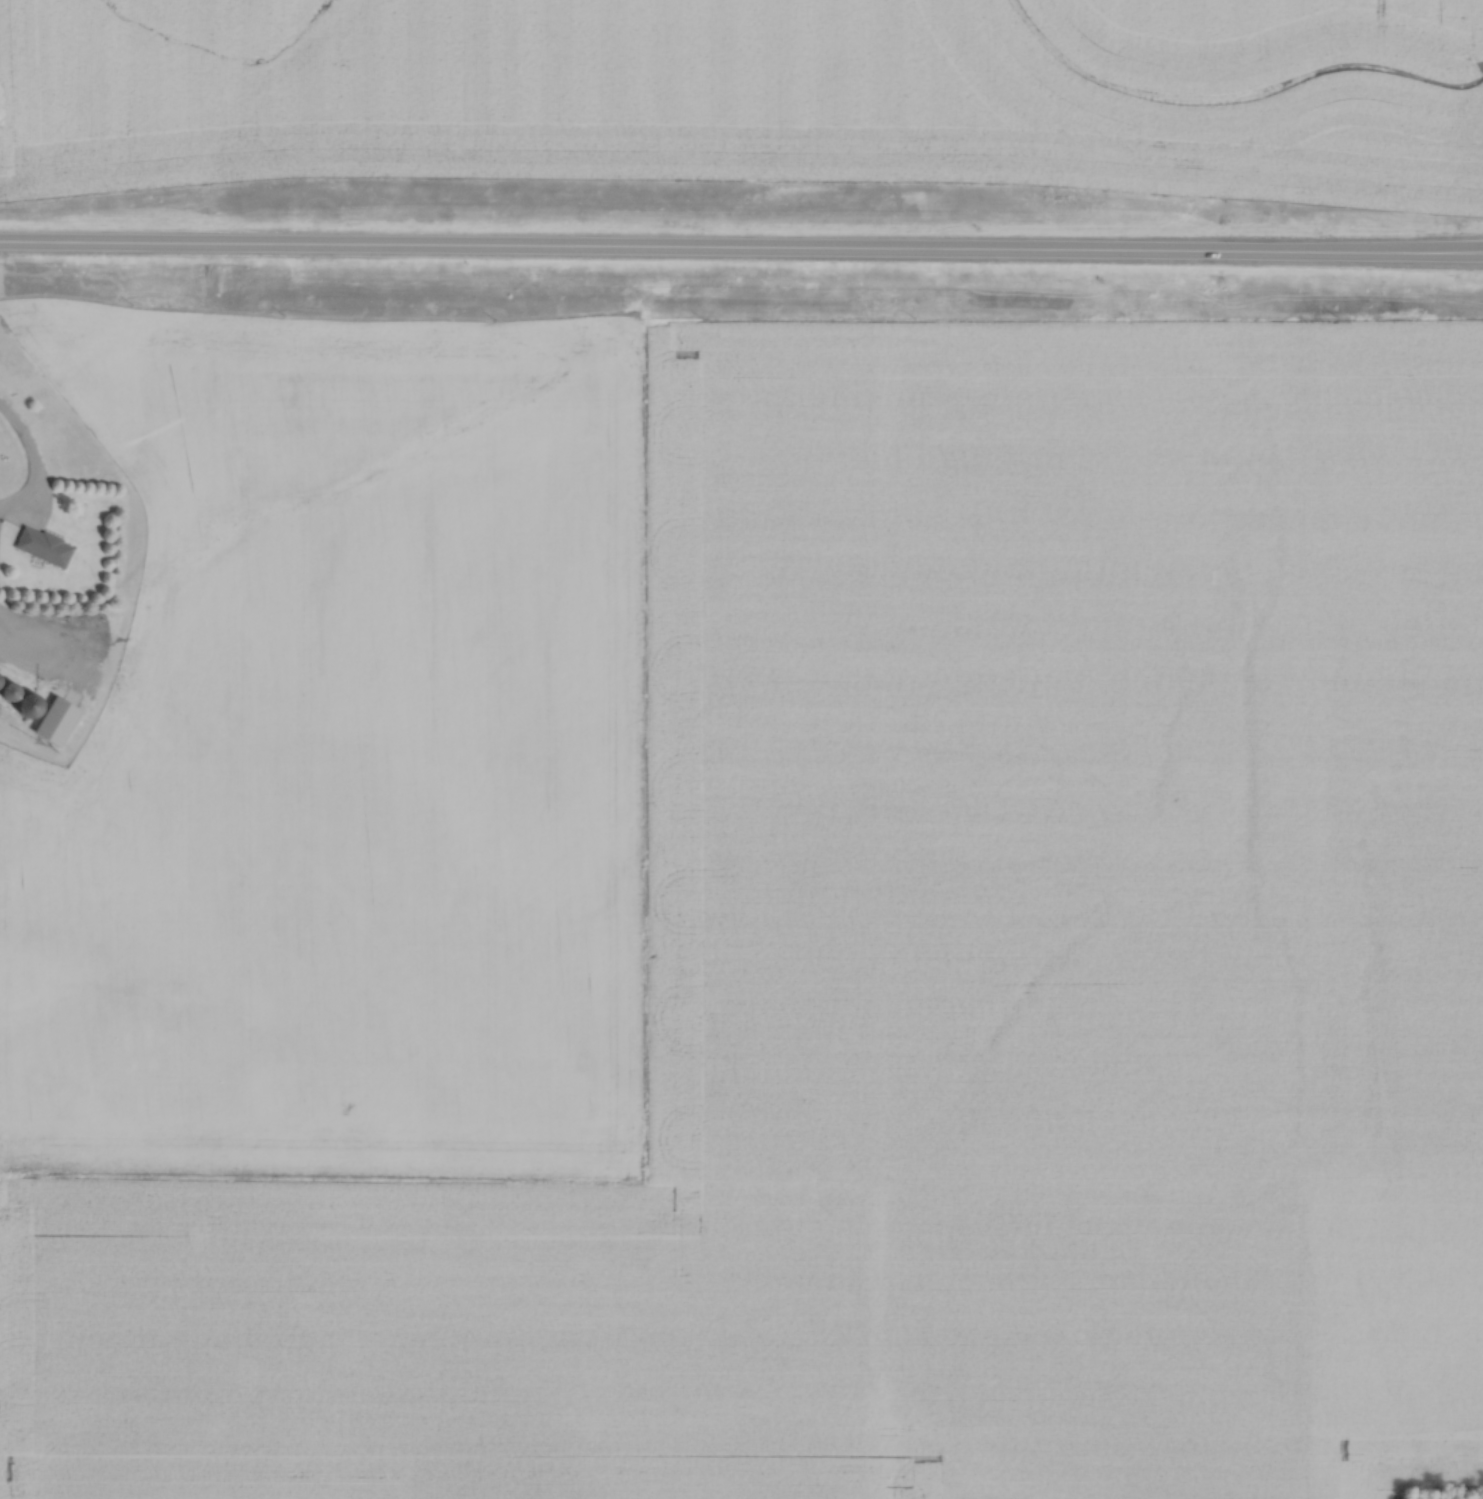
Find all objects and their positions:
road: (700, 242)
road: (1442, 244)
road: (1442, 247)
road: (26, 453)
building: (41, 543)
building: (20, 701)
building: (52, 719)

